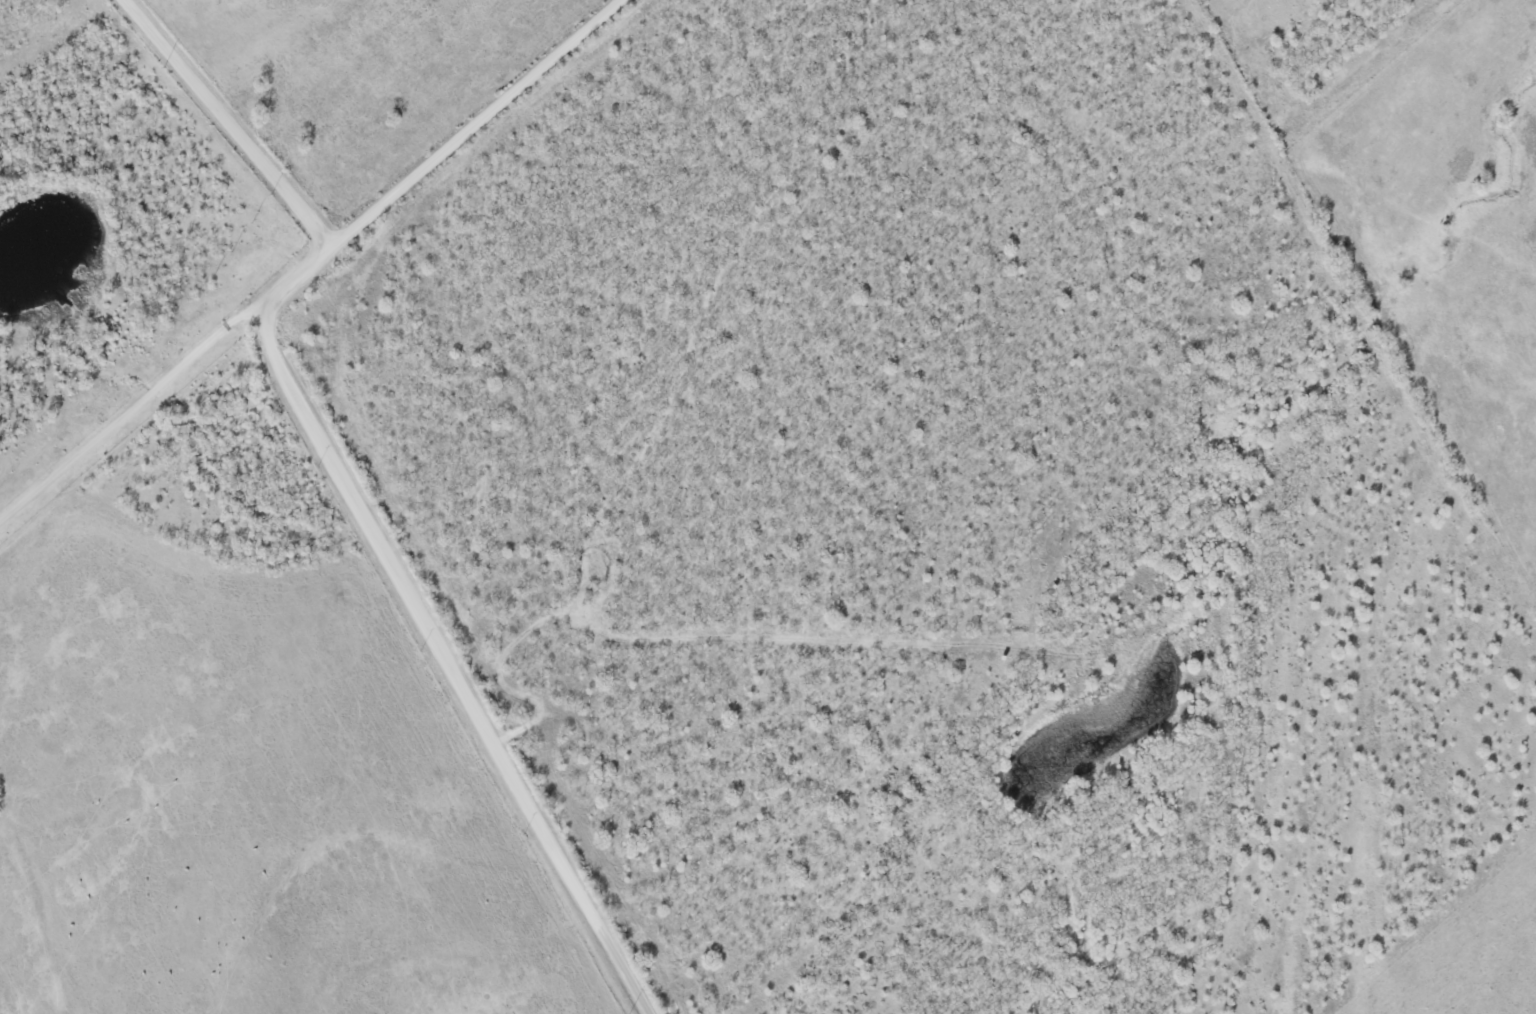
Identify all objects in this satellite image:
road: (228, 123)
road: (130, 410)
road: (333, 459)

